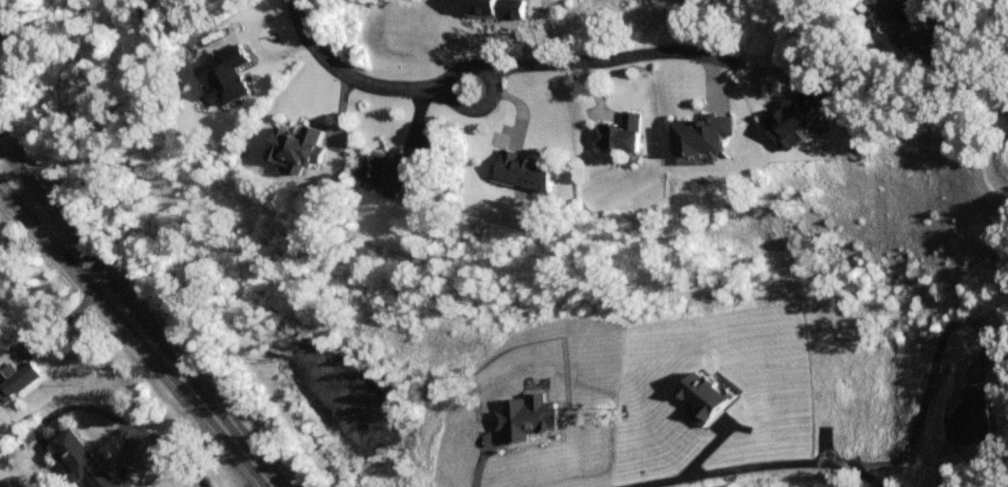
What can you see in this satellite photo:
building: (917, 29)
road: (990, 31)
road: (252, 44)
road: (608, 58)
road: (347, 77)
road: (448, 96)
building: (796, 118)
building: (616, 135)
building: (700, 136)
building: (299, 150)
building: (393, 172)
building: (520, 172)
road: (11, 175)
road: (11, 179)
road: (62, 237)
road: (65, 317)
road: (913, 356)
building: (20, 379)
road: (185, 385)
road: (125, 426)
road: (732, 451)
building: (82, 460)
road: (263, 485)

